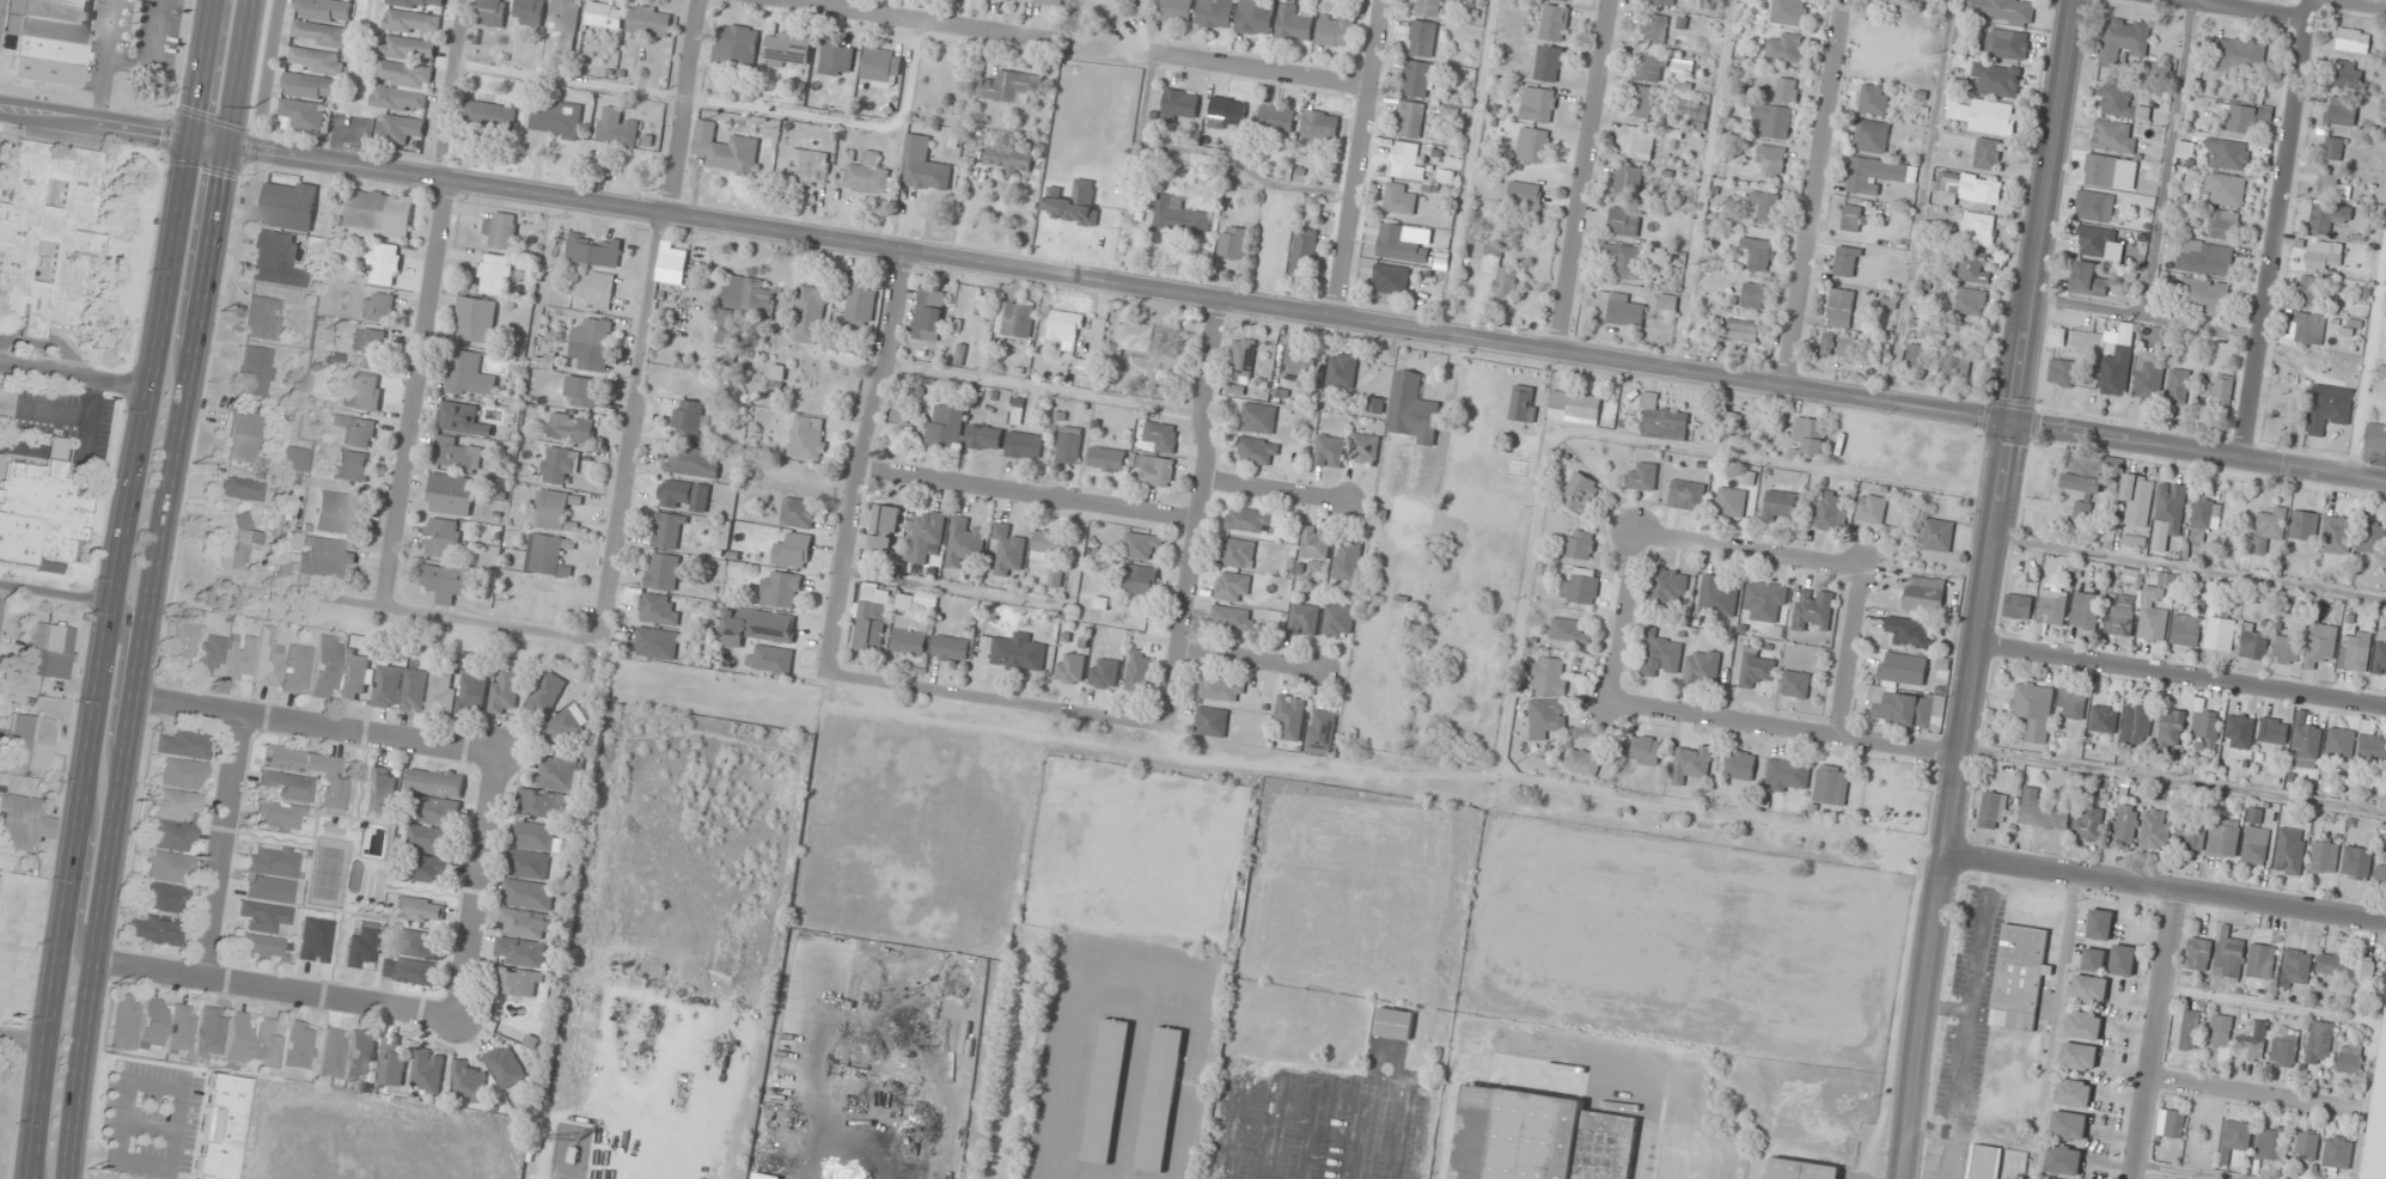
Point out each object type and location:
building: (1019, 0)
building: (1567, 0)
building: (1893, 0)
building: (1129, 1)
building: (1662, 1)
building: (1050, 2)
road: (2363, 2)
building: (420, 4)
building: (1428, 7)
building: (325, 10)
building: (1174, 10)
road: (2244, 10)
building: (530, 11)
building: (2000, 11)
building: (493, 12)
building: (1789, 12)
building: (1215, 13)
building: (605, 16)
building: (1256, 17)
building: (566, 18)
road: (914, 19)
building: (648, 20)
building: (413, 22)
building: (1555, 22)
building: (1294, 23)
building: (1335, 29)
building: (1655, 29)
building: (321, 33)
building: (49, 38)
building: (1422, 38)
building: (2351, 39)
building: (2123, 42)
building: (2006, 43)
building: (736, 45)
building: (408, 48)
building: (1786, 48)
building: (787, 49)
building: (2235, 53)
building: (836, 59)
building: (318, 60)
building: (1549, 62)
building: (878, 65)
building: (1652, 67)
road: (1261, 68)
building: (2162, 68)
building: (2348, 74)
building: (1418, 79)
building: (1997, 79)
building: (312, 86)
building: (403, 86)
building: (1011, 86)
building: (1787, 90)
building: (1874, 99)
building: (1642, 100)
building: (824, 102)
building: (2120, 102)
road: (726, 103)
building: (1179, 104)
building: (1538, 104)
building: (1227, 110)
building: (2342, 110)
building: (1694, 111)
building: (303, 114)
building: (490, 115)
building: (1984, 115)
building: (1276, 118)
building: (1410, 118)
building: (2242, 118)
building: (556, 120)
building: (1770, 120)
building: (1320, 124)
building: (399, 128)
building: (617, 128)
building: (1872, 136)
building: (2115, 136)
traffic signals: (189, 140)
building: (1637, 141)
building: (1533, 145)
traffic signals: (225, 146)
building: (2333, 147)
building: (725, 149)
building: (1988, 153)
building: (2227, 153)
road: (1356, 157)
building: (1770, 159)
road: (2167, 159)
building: (1406, 161)
building: (807, 165)
road: (1466, 165)
building: (923, 166)
building: (2110, 171)
road: (1580, 175)
building: (1878, 175)
building: (866, 176)
building: (1628, 181)
road: (1702, 183)
building: (2329, 184)
building: (1966, 188)
building: (2225, 189)
building: (1525, 190)
road: (1816, 193)
building: (1399, 198)
road: (1921, 201)
building: (1766, 203)
building: (289, 204)
building: (2094, 206)
building: (380, 212)
road: (2042, 212)
building: (1179, 218)
building: (1854, 218)
building: (2329, 218)
building: (1624, 221)
building: (2225, 224)
building: (501, 228)
building: (1978, 228)
road: (2275, 228)
building: (48, 236)
building: (1233, 242)
building: (2099, 243)
building: (1401, 244)
building: (594, 250)
building: (1302, 252)
building: (1758, 252)
building: (2324, 255)
building: (2203, 256)
building: (275, 259)
building: (1623, 261)
building: (1847, 261)
building: (385, 263)
building: (672, 265)
building: (1973, 265)
building: (1500, 271)
building: (495, 274)
building: (1390, 279)
building: (2087, 279)
building: (596, 289)
building: (2318, 291)
road: (1192, 294)
building: (1753, 294)
building: (2205, 297)
building: (744, 299)
building: (1667, 301)
building: (1971, 301)
road: (427, 304)
building: (859, 304)
building: (1622, 307)
building: (1841, 307)
building: (812, 314)
building: (928, 314)
road: (2144, 317)
building: (263, 318)
building: (476, 319)
road: (645, 319)
building: (1014, 319)
building: (1066, 325)
building: (2309, 328)
building: (1741, 330)
building: (2057, 336)
building: (1133, 337)
building: (592, 343)
building: (1838, 344)
building: (368, 346)
building: (1915, 354)
road: (2367, 354)
building: (1954, 362)
building: (2337, 364)
building: (1241, 365)
building: (1295, 365)
building: (1342, 369)
building: (2382, 369)
building: (2116, 371)
building: (255, 372)
building: (2062, 372)
building: (1090, 373)
building: (468, 374)
road: (74, 375)
building: (2148, 377)
building: (777, 378)
building: (2178, 386)
building: (2220, 389)
building: (364, 391)
building: (581, 391)
building: (1524, 403)
building: (1574, 407)
building: (2329, 408)
building: (1412, 409)
building: (899, 414)
building: (1258, 417)
building: (463, 419)
building: (689, 420)
building: (1661, 420)
traffic signals: (2012, 424)
building: (945, 426)
building: (572, 427)
building: (356, 429)
building: (1811, 435)
building: (243, 436)
building: (984, 436)
building: (1161, 436)
building: (2375, 438)
building: (807, 439)
building: (1024, 445)
building: (1069, 445)
building: (1532, 447)
building: (1365, 448)
building: (1258, 451)
building: (1330, 451)
building: (458, 453)
building: (1107, 458)
road: (861, 460)
building: (692, 462)
building: (293, 463)
building: (559, 464)
building: (353, 465)
building: (1155, 470)
building: (1642, 476)
building: (2083, 481)
road: (1273, 487)
building: (242, 489)
building: (451, 494)
road: (1027, 494)
building: (1583, 494)
building: (1686, 494)
building: (684, 495)
building: (2137, 499)
building: (1731, 501)
building: (1778, 505)
building: (2172, 506)
building: (1872, 508)
building: (42, 509)
building: (556, 509)
road: (1197, 511)
building: (1827, 511)
building: (799, 512)
building: (338, 513)
building: (1252, 520)
building: (2201, 521)
building: (2303, 525)
building: (2269, 529)
building: (670, 530)
building: (886, 530)
building: (1936, 534)
building: (441, 537)
building: (925, 537)
building: (2372, 538)
building: (2336, 540)
building: (964, 542)
building: (1050, 542)
building: (2134, 542)
building: (1141, 544)
building: (1580, 544)
building: (1316, 546)
building: (1008, 548)
building: (793, 550)
building: (239, 551)
road: (1750, 551)
building: (1238, 552)
building: (550, 556)
building: (324, 557)
building: (1347, 561)
building: (663, 572)
building: (2132, 575)
building: (1056, 576)
building: (1140, 579)
building: (446, 581)
building: (1233, 586)
building: (1670, 586)
building: (1581, 587)
road: (0, 588)
road: (114, 588)
road: (151, 588)
building: (781, 588)
road: (56, 592)
building: (1717, 594)
building: (1923, 594)
building: (926, 599)
building: (1765, 601)
building: (2018, 606)
building: (2052, 606)
building: (659, 609)
building: (1813, 610)
building: (2085, 610)
building: (2153, 613)
building: (2119, 615)
road: (439, 616)
building: (1232, 617)
road: (1625, 618)
building: (1304, 619)
building: (1338, 619)
building: (872, 622)
building: (757, 625)
building: (1569, 630)
building: (2186, 630)
building: (1910, 633)
building: (2220, 634)
building: (911, 635)
building: (657, 642)
building: (2320, 643)
building: (183, 645)
building: (2254, 645)
building: (951, 648)
building: (2287, 648)
building: (48, 650)
building: (1015, 652)
road: (1850, 653)
building: (2380, 653)
building: (210, 654)
building: (1661, 656)
building: (2354, 656)
road: (1247, 658)
building: (239, 659)
building: (268, 659)
building: (771, 659)
building: (325, 667)
building: (1069, 667)
building: (1702, 667)
building: (1903, 667)
building: (1756, 668)
building: (297, 670)
building: (1139, 670)
building: (1104, 673)
building: (355, 676)
building: (1549, 676)
road: (2181, 676)
building: (1795, 684)
building: (389, 685)
road: (116, 688)
building: (1219, 689)
building: (415, 690)
building: (474, 691)
building: (505, 691)
building: (548, 691)
building: (443, 695)
road: (996, 700)
building: (2071, 705)
building: (1903, 707)
building: (2033, 708)
building: (1289, 717)
building: (1545, 719)
building: (2104, 719)
building: (1212, 721)
building: (2141, 723)
road: (315, 726)
building: (565, 726)
building: (2207, 727)
building: (2172, 728)
building: (1322, 729)
road: (1786, 729)
building: (2239, 731)
building: (2274, 731)
building: (29, 743)
building: (2307, 743)
building: (2341, 743)
building: (181, 746)
building: (2373, 747)
building: (1646, 750)
building: (291, 760)
building: (1583, 760)
building: (1691, 762)
building: (1740, 764)
building: (559, 772)
building: (183, 775)
building: (1788, 775)
building: (437, 782)
building: (1831, 784)
building: (289, 786)
building: (334, 787)
building: (383, 792)
road: (1951, 800)
building: (542, 804)
building: (176, 805)
building: (438, 811)
building: (1993, 811)
building: (2042, 812)
building: (277, 817)
building: (24, 823)
building: (2087, 824)
building: (2124, 825)
building: (2155, 830)
building: (535, 836)
building: (172, 837)
building: (2223, 837)
building: (2190, 838)
building: (432, 839)
building: (2254, 845)
road: (221, 847)
building: (2290, 851)
building: (2324, 856)
building: (2360, 861)
building: (277, 863)
building: (529, 865)
building: (167, 867)
building: (428, 869)
road: (83, 874)
building: (2380, 876)
road: (477, 887)
building: (269, 890)
road: (2162, 891)
building: (529, 894)
building: (164, 898)
building: (420, 909)
building: (264, 917)
building: (523, 923)
building: (2099, 924)
building: (153, 930)
building: (316, 940)
building: (417, 943)
building: (262, 948)
building: (360, 949)
building: (520, 952)
building: (2198, 953)
building: (2229, 957)
building: (2093, 960)
building: (2123, 960)
building: (2260, 960)
building: (2331, 964)
building: (2297, 965)
building: (408, 971)
building: (2362, 973)
building: (2018, 976)
building: (515, 981)
building: (2089, 989)
road: (275, 990)
building: (124, 1022)
building: (153, 1024)
building: (1395, 1025)
building: (2083, 1025)
building: (182, 1030)
building: (2190, 1030)
building: (210, 1032)
building: (2222, 1033)
road: (2153, 1036)
building: (239, 1040)
building: (2319, 1041)
road: (22, 1044)
building: (2252, 1044)
building: (299, 1045)
building: (267, 1046)
building: (2284, 1049)
building: (332, 1053)
building: (361, 1055)
building: (2079, 1056)
building: (2350, 1057)
building: (392, 1062)
building: (506, 1064)
building: (428, 1071)
building: (468, 1081)
building: (1107, 1091)
building: (2073, 1093)
road: (2250, 1093)
building: (1161, 1099)
building: (2378, 1114)
building: (2172, 1123)
building: (2068, 1125)
building: (220, 1126)
building: (1538, 1137)
building: (2234, 1140)
building: (2269, 1143)
building: (2305, 1146)
building: (2337, 1151)
building: (496, 1154)
building: (2063, 1160)
building: (1800, 1169)
building: (763, 1175)
building: (2045, 1178)

